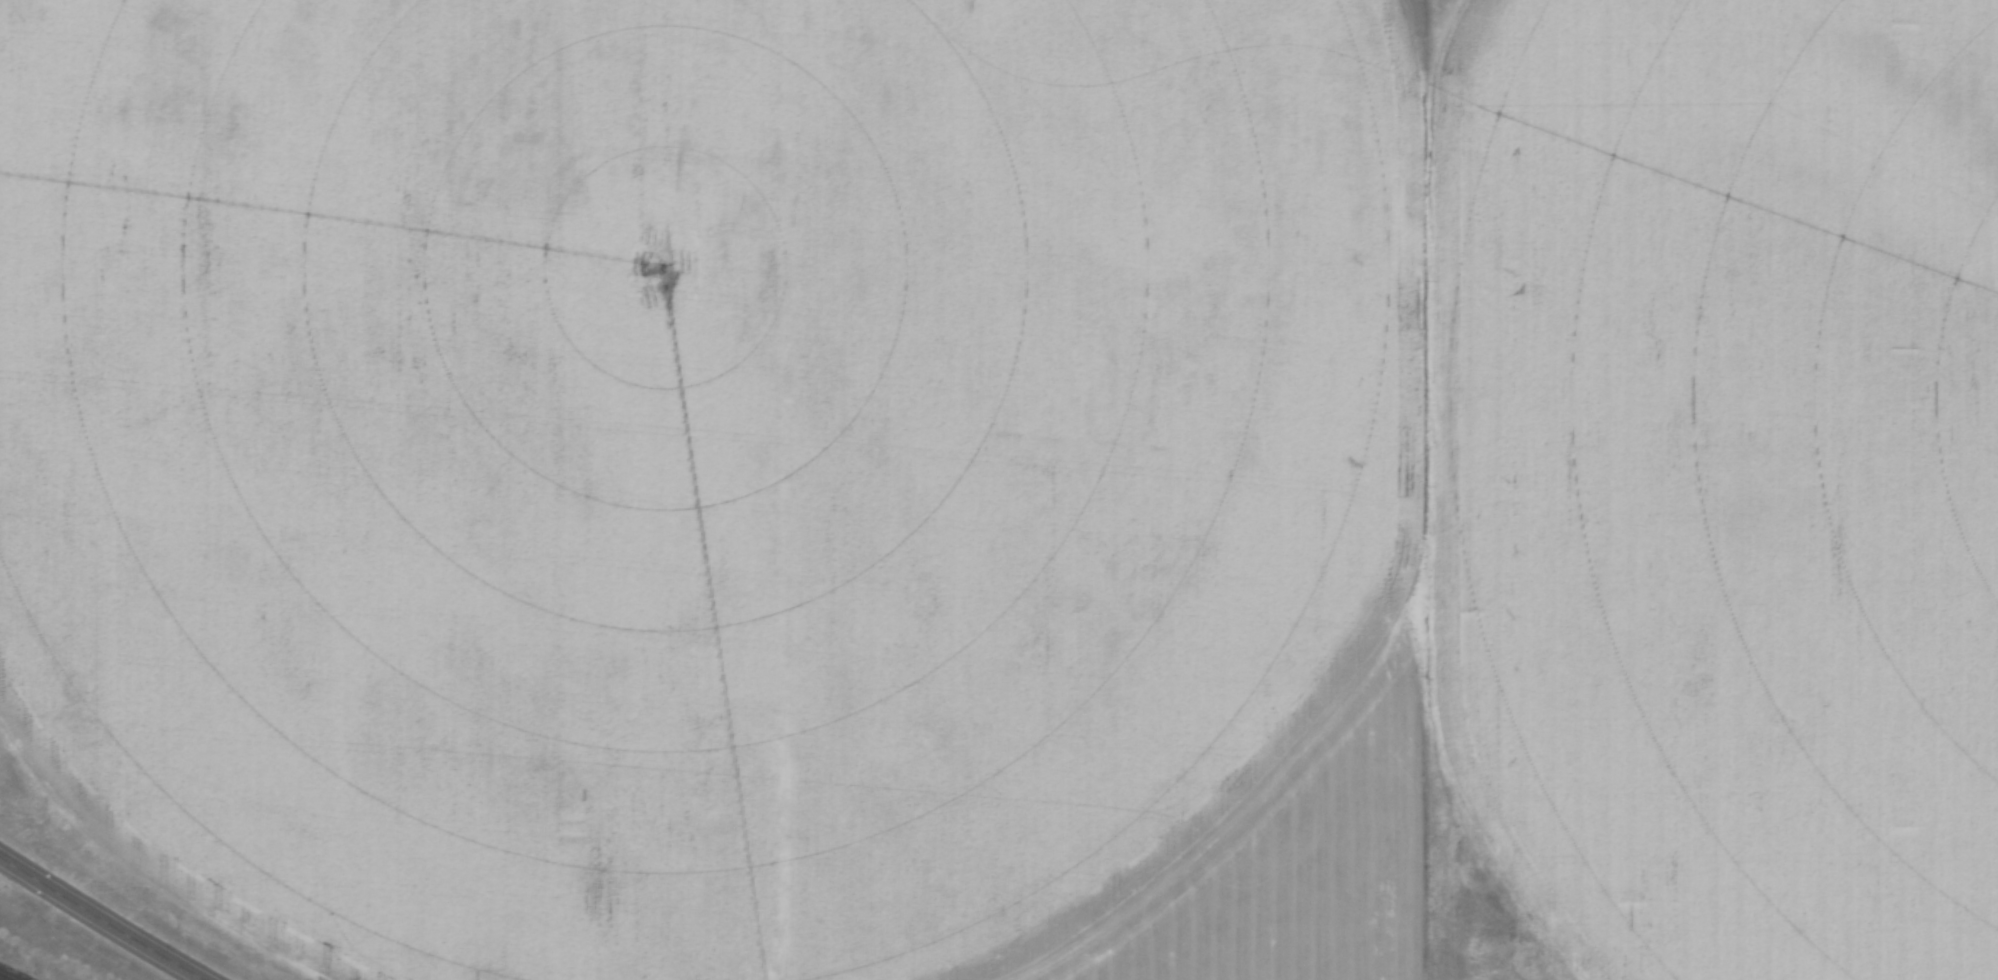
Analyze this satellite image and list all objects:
road: (99, 920)
railway: (6, 977)

